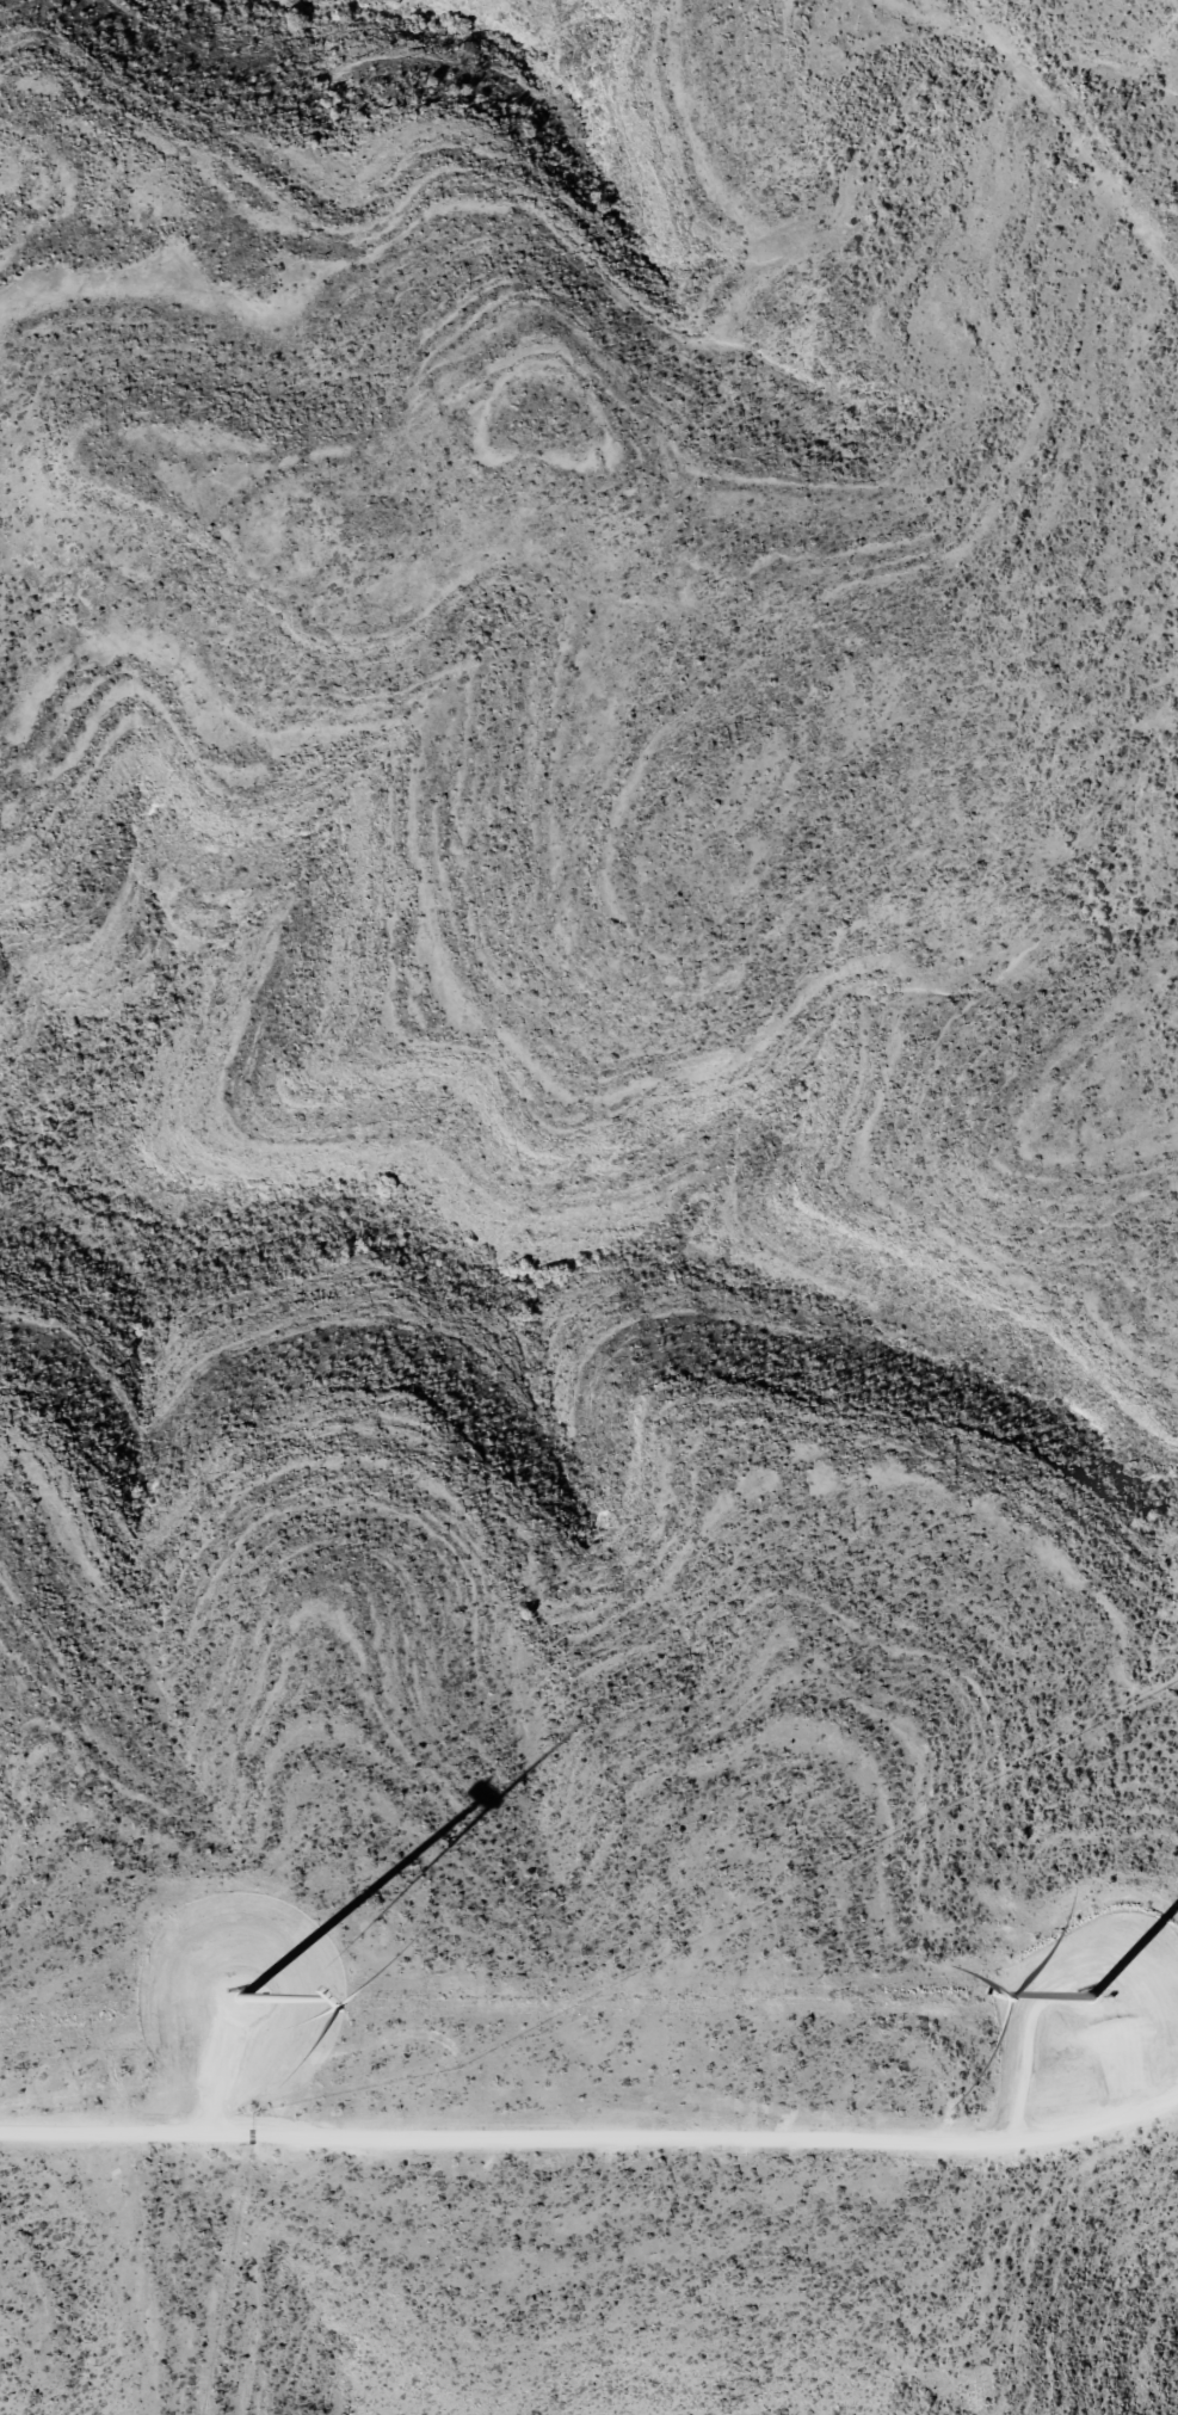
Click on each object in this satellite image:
wind turbine: (239, 1992)
wind turbine: (1088, 1995)
road: (592, 2084)

